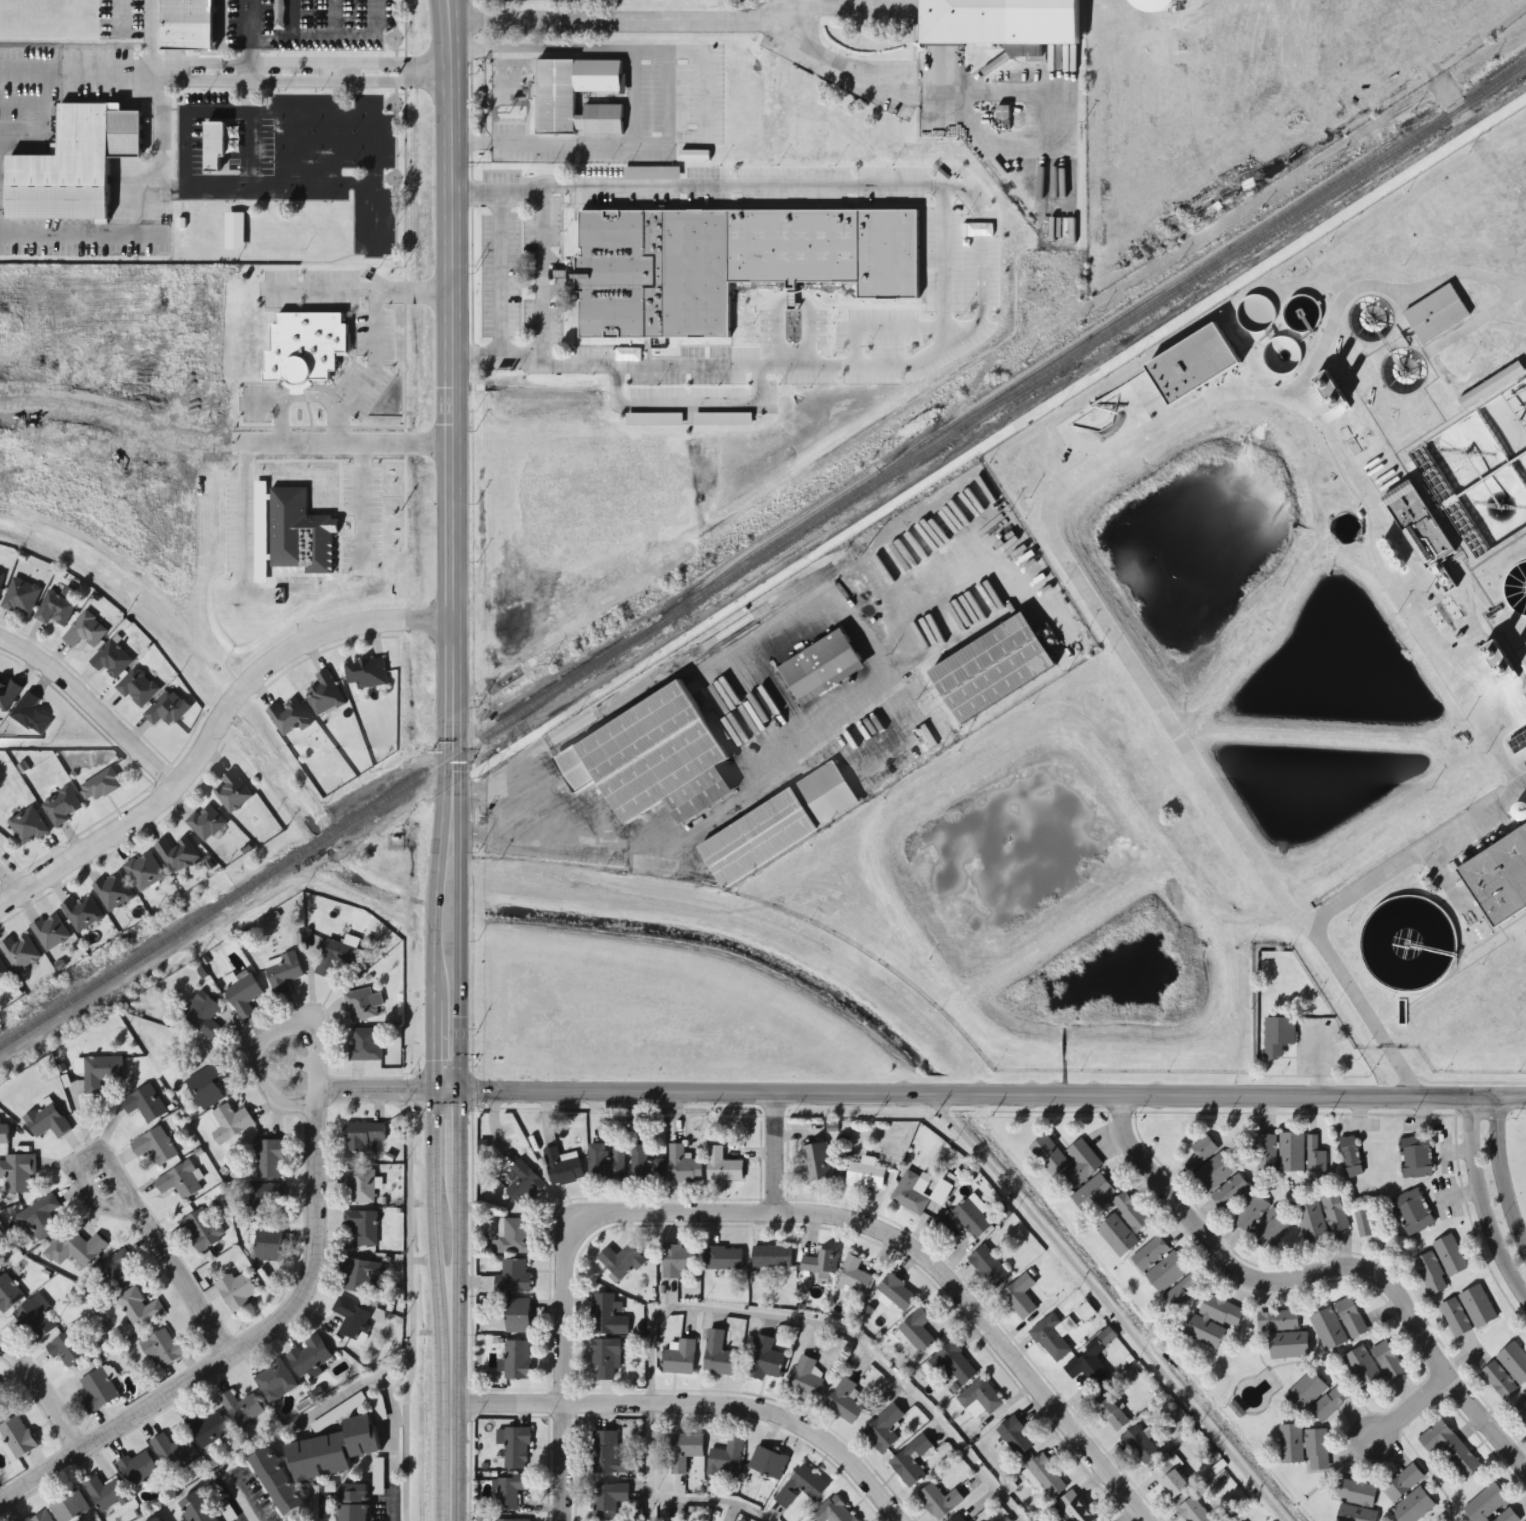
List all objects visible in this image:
road: (443, 10)
road: (449, 10)
building: (1327, 13)
building: (1007, 16)
road: (628, 20)
road: (291, 21)
road: (331, 21)
building: (190, 24)
parking lot: (309, 24)
road: (149, 35)
road: (332, 41)
building: (1456, 46)
building: (1345, 50)
building: (1327, 52)
road: (84, 71)
road: (169, 71)
road: (330, 72)
road: (248, 91)
building: (557, 98)
road: (25, 102)
road: (239, 109)
road: (51, 127)
road: (158, 127)
building: (217, 146)
road: (294, 147)
road: (335, 147)
parking lot: (294, 156)
building: (77, 166)
road: (370, 175)
road: (0, 182)
road: (264, 183)
building: (235, 230)
road: (83, 233)
building: (614, 275)
building: (1438, 306)
building: (1202, 349)
building: (1491, 385)
building: (1327, 391)
road: (221, 441)
building: (1417, 526)
building: (290, 535)
railway: (764, 556)
building: (1, 571)
building: (1, 578)
building: (21, 589)
building: (56, 602)
building: (85, 624)
building: (112, 652)
building: (1493, 661)
building: (368, 664)
building: (823, 666)
building: (996, 669)
wastewater plant: (1251, 673)
building: (137, 680)
building: (8, 686)
building: (326, 687)
building: (167, 702)
road: (89, 705)
building: (31, 707)
building: (291, 708)
road: (211, 726)
building: (1518, 747)
building: (655, 759)
road: (452, 770)
building: (101, 777)
building: (234, 785)
building: (62, 800)
building: (205, 815)
building: (28, 819)
building: (780, 825)
building: (179, 846)
building: (143, 864)
building: (1502, 866)
road: (12, 876)
building: (114, 885)
building: (83, 905)
building: (50, 926)
building: (22, 944)
building: (338, 955)
building: (5, 965)
building: (283, 972)
building: (244, 995)
building: (363, 1004)
building: (204, 1015)
building: (1279, 1028)
road: (263, 1039)
building: (365, 1044)
building: (101, 1072)
building: (207, 1086)
road: (380, 1089)
traffic signals: (444, 1091)
road: (957, 1096)
road: (1498, 1102)
building: (145, 1103)
building: (47, 1120)
building: (230, 1123)
building: (5, 1133)
building: (363, 1135)
building: (156, 1146)
road: (775, 1152)
building: (1266, 1152)
building: (1291, 1152)
building: (1201, 1153)
building: (1049, 1155)
building: (1315, 1155)
building: (1350, 1156)
building: (1415, 1157)
building: (270, 1158)
building: (606, 1162)
building: (817, 1162)
building: (1081, 1164)
building: (682, 1165)
building: (722, 1165)
building: (562, 1166)
building: (645, 1166)
building: (19, 1172)
building: (1213, 1173)
road: (132, 1174)
building: (864, 1175)
road: (1503, 1175)
building: (180, 1182)
building: (360, 1184)
building: (524, 1184)
road: (87, 1185)
building: (1229, 1192)
building: (911, 1193)
building: (1093, 1195)
building: (263, 1199)
road: (1482, 1203)
building: (1130, 1212)
building: (1412, 1212)
building: (1251, 1213)
building: (1335, 1213)
building: (40, 1217)
building: (964, 1219)
building: (1311, 1222)
building: (1363, 1223)
building: (363, 1226)
building: (202, 1229)
building: (1271, 1230)
building: (1117, 1235)
building: (512, 1237)
building: (270, 1243)
building: (76, 1249)
building: (1150, 1255)
building: (1450, 1255)
building: (771, 1256)
building: (0, 1257)
building: (722, 1258)
building: (677, 1260)
building: (621, 1261)
building: (820, 1265)
building: (989, 1266)
building: (118, 1270)
road: (1321, 1270)
road: (564, 1271)
building: (1430, 1274)
building: (364, 1275)
building: (515, 1276)
building: (854, 1277)
building: (1172, 1281)
road: (187, 1282)
building: (238, 1290)
building: (896, 1292)
building: (9, 1293)
building: (1019, 1297)
building: (1477, 1306)
building: (140, 1308)
road: (1108, 1308)
building: (1086, 1312)
building: (517, 1315)
road: (778, 1315)
building: (607, 1316)
building: (351, 1317)
building: (1455, 1317)
building: (37, 1318)
building: (1350, 1318)
building: (1213, 1320)
building: (1277, 1320)
road: (981, 1329)
building: (1328, 1329)
building: (917, 1331)
building: (1053, 1337)
road: (241, 1344)
building: (1288, 1345)
building: (164, 1347)
building: (68, 1349)
building: (718, 1355)
building: (679, 1358)
building: (605, 1359)
building: (764, 1359)
building: (311, 1360)
building: (516, 1361)
building: (1388, 1361)
building: (1514, 1362)
building: (952, 1365)
building: (1087, 1365)
building: (1362, 1367)
building: (805, 1378)
building: (1498, 1380)
building: (275, 1381)
building: (99, 1390)
road: (387, 1391)
building: (1305, 1392)
building: (979, 1399)
road: (41, 1400)
building: (844, 1401)
building: (1329, 1403)
building: (242, 1407)
road: (1409, 1407)
building: (1521, 1409)
road: (692, 1410)
building: (1112, 1414)
building: (207, 1428)
building: (883, 1429)
building: (18, 1437)
building: (336, 1437)
building: (1015, 1437)
building: (1291, 1444)
building: (1139, 1445)
building: (1449, 1448)
building: (516, 1449)
building: (174, 1450)
building: (1316, 1450)
building: (684, 1451)
building: (607, 1454)
building: (725, 1460)
building: (910, 1462)
building: (768, 1463)
building: (139, 1468)
building: (279, 1471)
building: (1046, 1478)
building: (1170, 1478)
building: (1403, 1483)
building: (801, 1487)
building: (509, 1491)
building: (106, 1493)
road: (236, 1494)
building: (355, 1499)
building: (608, 1499)
building: (939, 1501)
building: (1355, 1501)
building: (205, 1503)
building: (1486, 1504)
building: (70, 1507)
building: (1413, 1507)
building: (1074, 1508)
road: (311, 1511)
building: (833, 1511)
building: (1193, 1511)
building: (158, 1515)
building: (1507, 1516)
building: (41, 1517)
building: (957, 1518)
building: (512, 1520)

